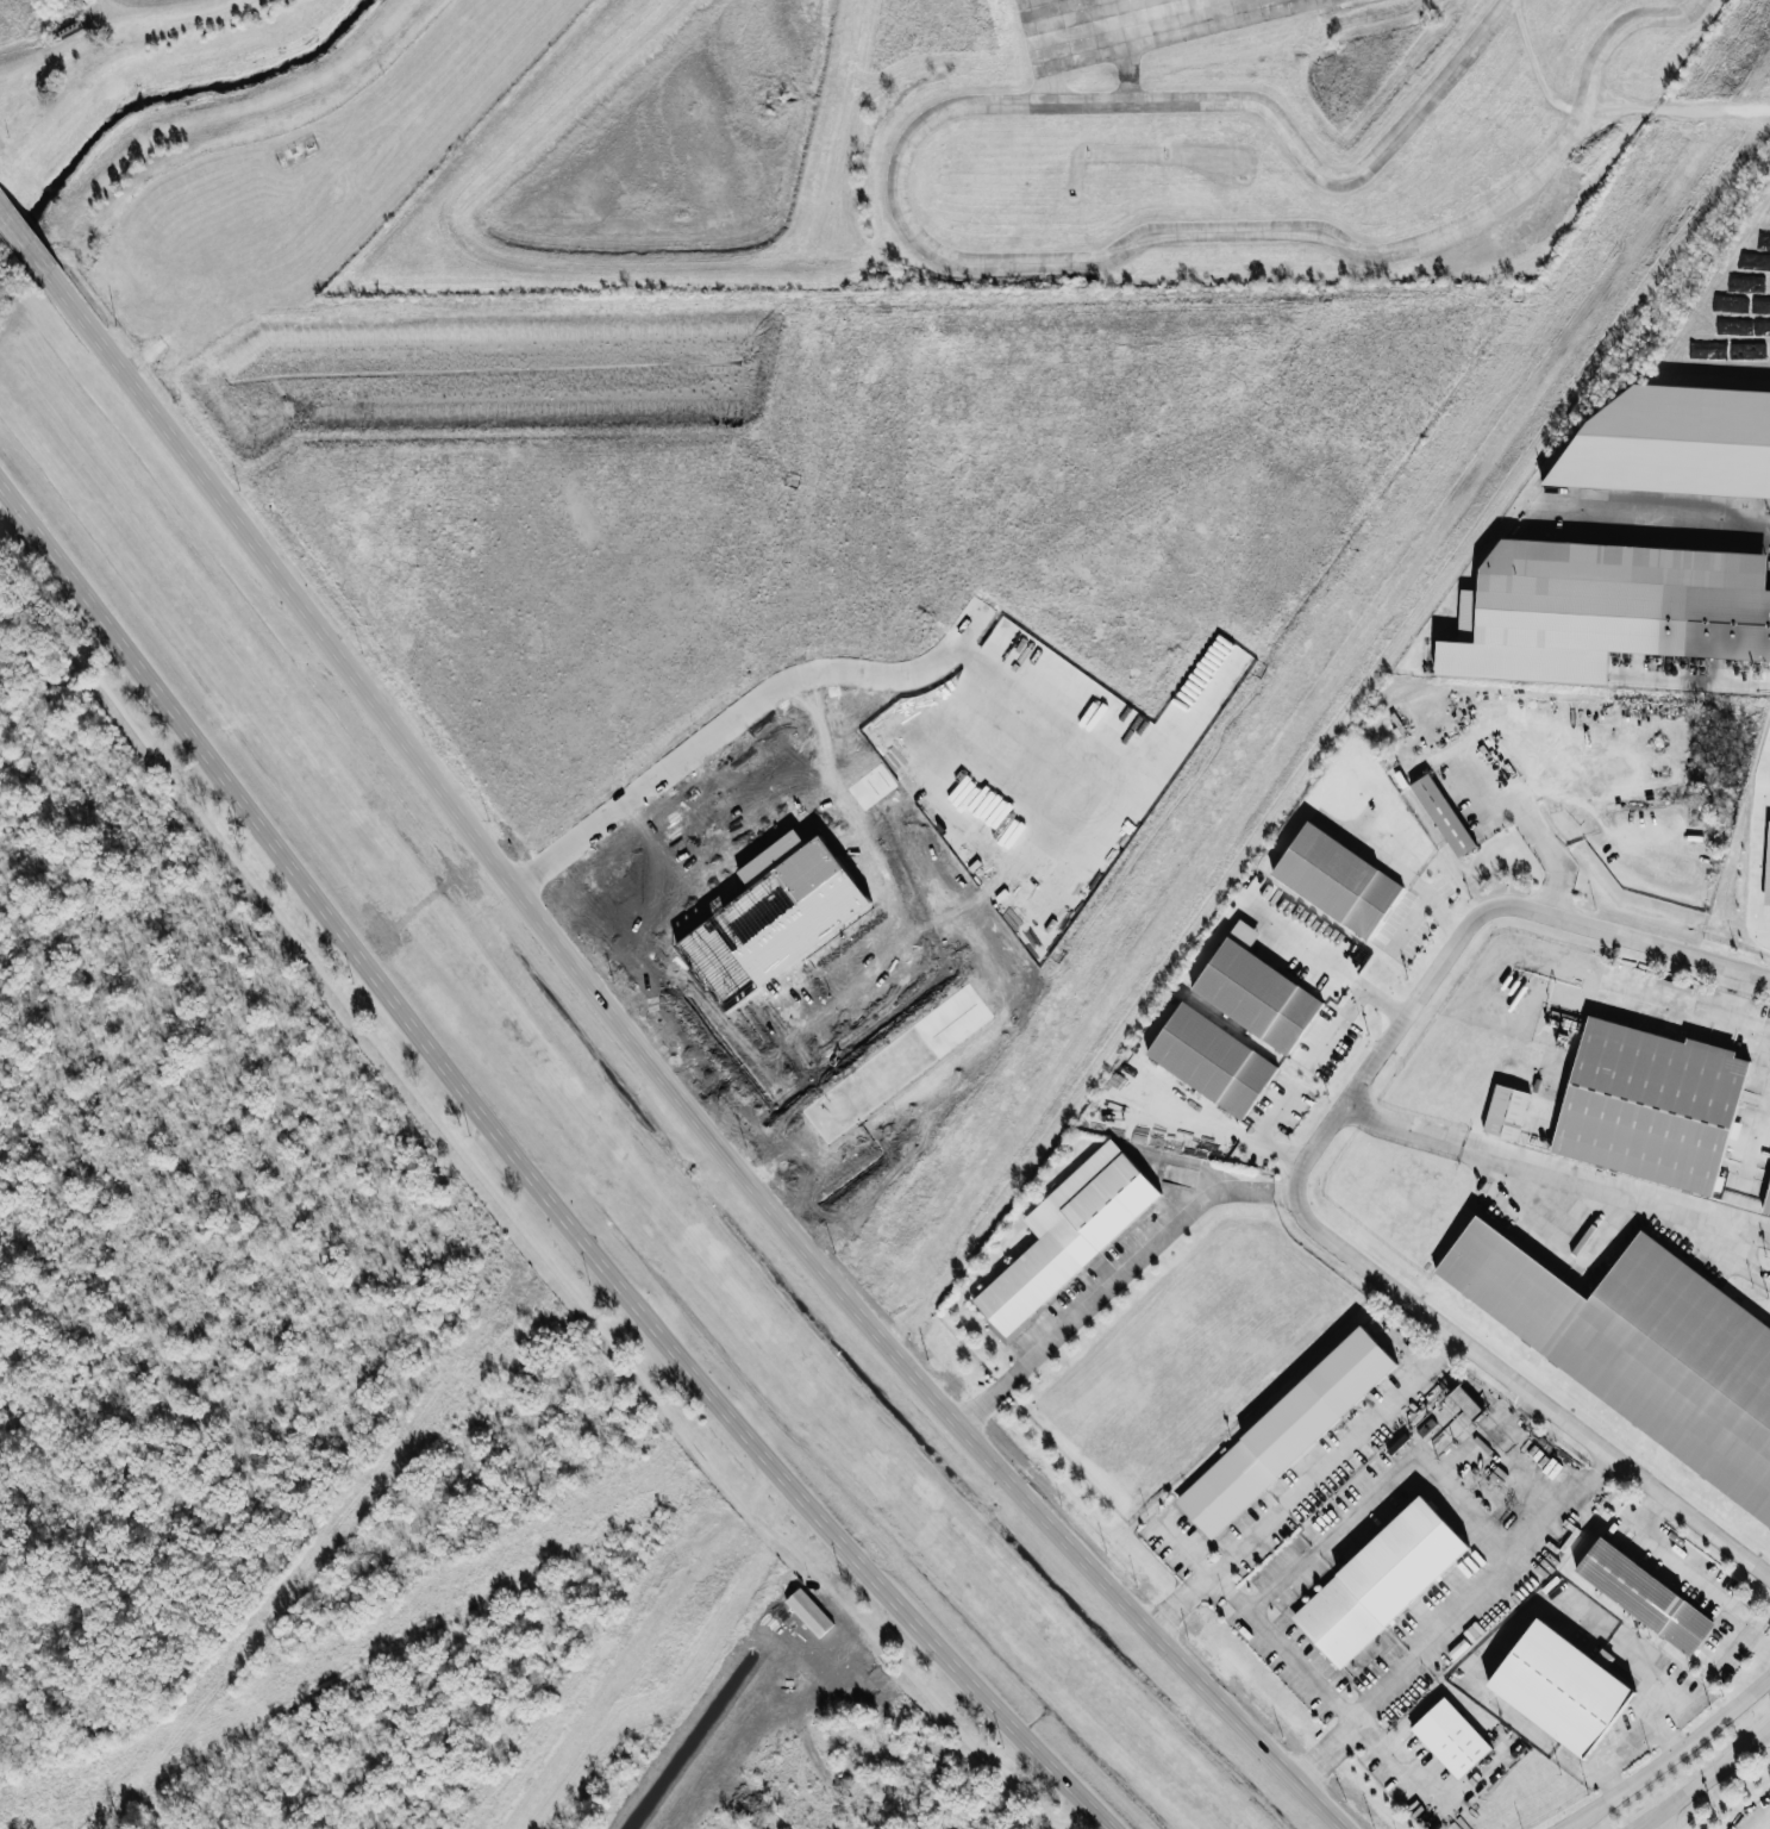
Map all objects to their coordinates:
road: (1618, 23)
road: (1675, 108)
road: (895, 199)
road: (23, 239)
building: (1674, 442)
road: (1653, 525)
building: (1608, 608)
building: (1441, 814)
road: (1545, 845)
road: (1384, 863)
building: (1337, 879)
road: (1406, 923)
road: (1307, 953)
road: (1727, 994)
building: (1256, 997)
road: (1346, 1006)
road: (1684, 1011)
building: (1212, 1060)
road: (662, 1079)
building: (1649, 1105)
building: (1506, 1112)
road: (1753, 1129)
road: (1259, 1134)
road: (1553, 1173)
road: (530, 1180)
road: (1293, 1180)
building: (1765, 1197)
road: (513, 1218)
building: (1068, 1232)
road: (1713, 1243)
road: (1113, 1279)
building: (1640, 1349)
building: (1284, 1430)
road: (1383, 1480)
road: (1303, 1482)
building: (1378, 1579)
building: (1644, 1597)
road: (1719, 1597)
road: (1456, 1619)
building: (786, 1625)
road: (1755, 1641)
road: (1610, 1647)
building: (1559, 1686)
road: (1327, 1693)
road: (1665, 1736)
building: (1450, 1737)
road: (1543, 1740)
road: (1671, 1754)
road: (1702, 1778)
road: (1660, 1822)

